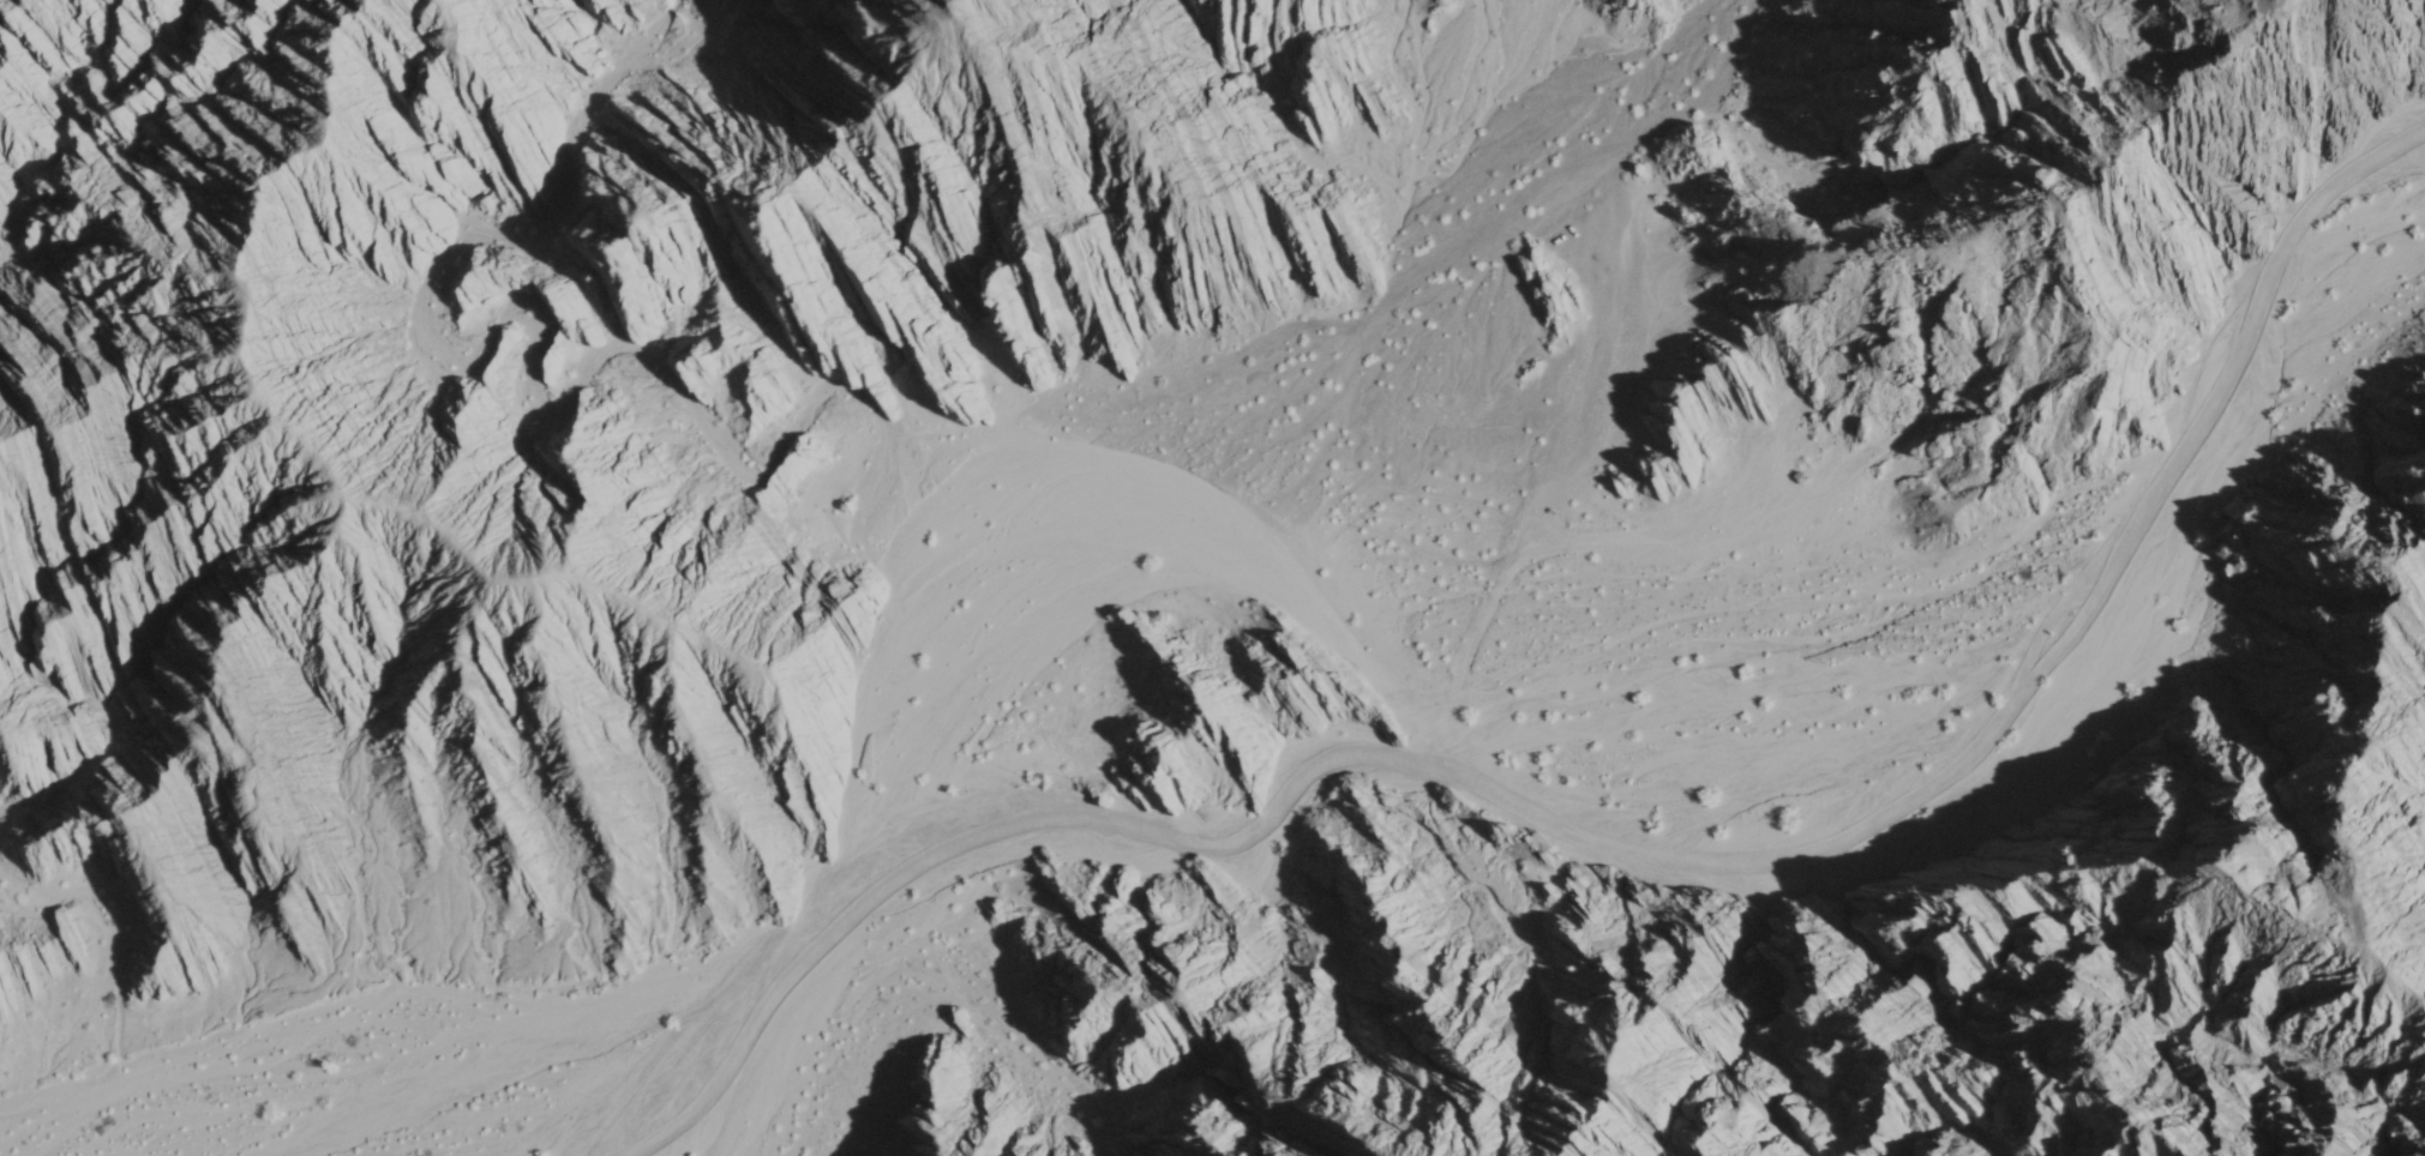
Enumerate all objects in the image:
road: (1397, 752)

